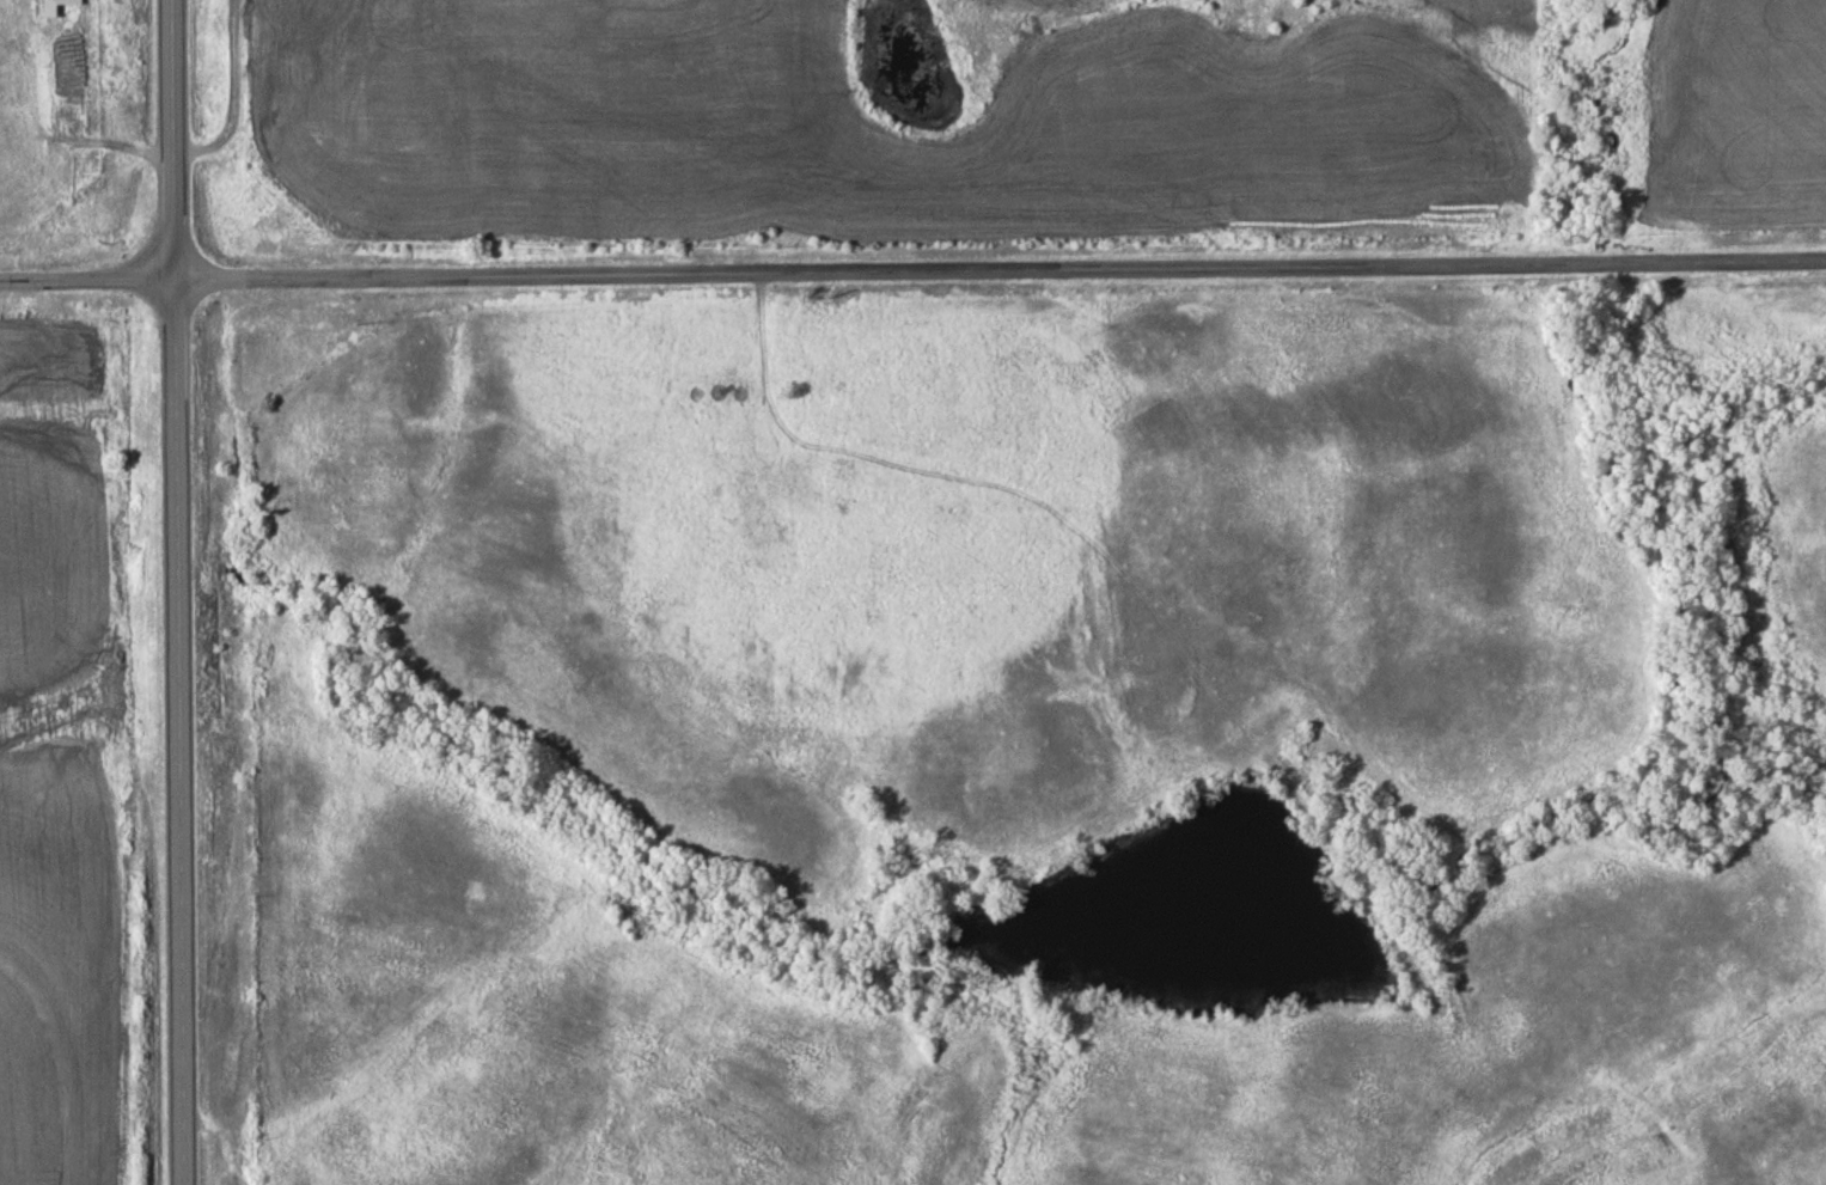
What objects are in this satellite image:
building: (47, 10)
road: (912, 269)
road: (177, 592)

